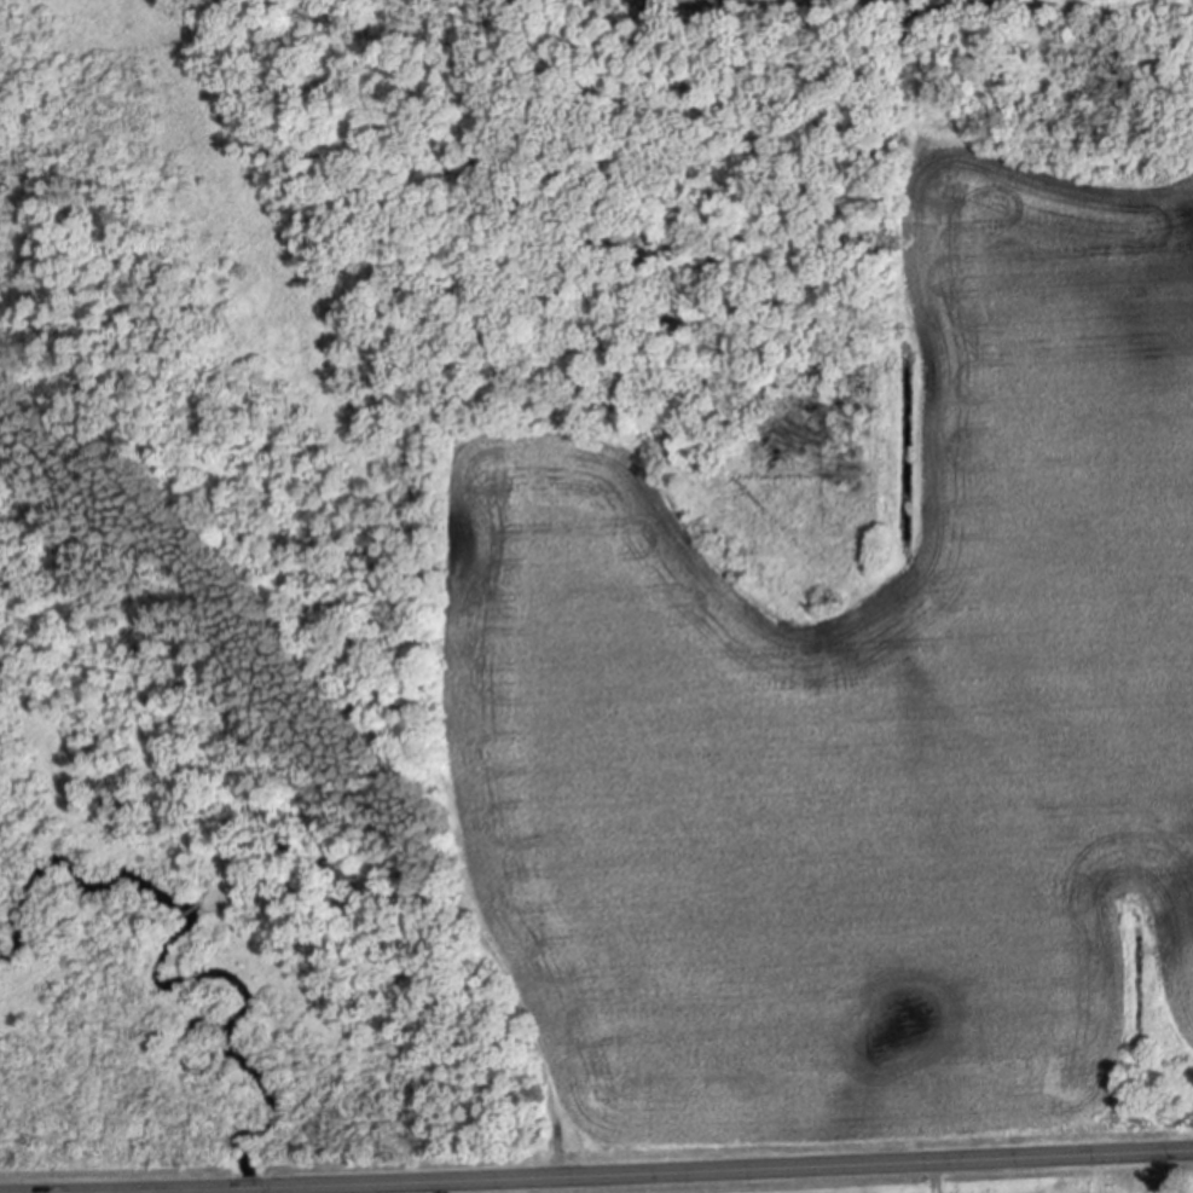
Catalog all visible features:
road: (690, 1175)

